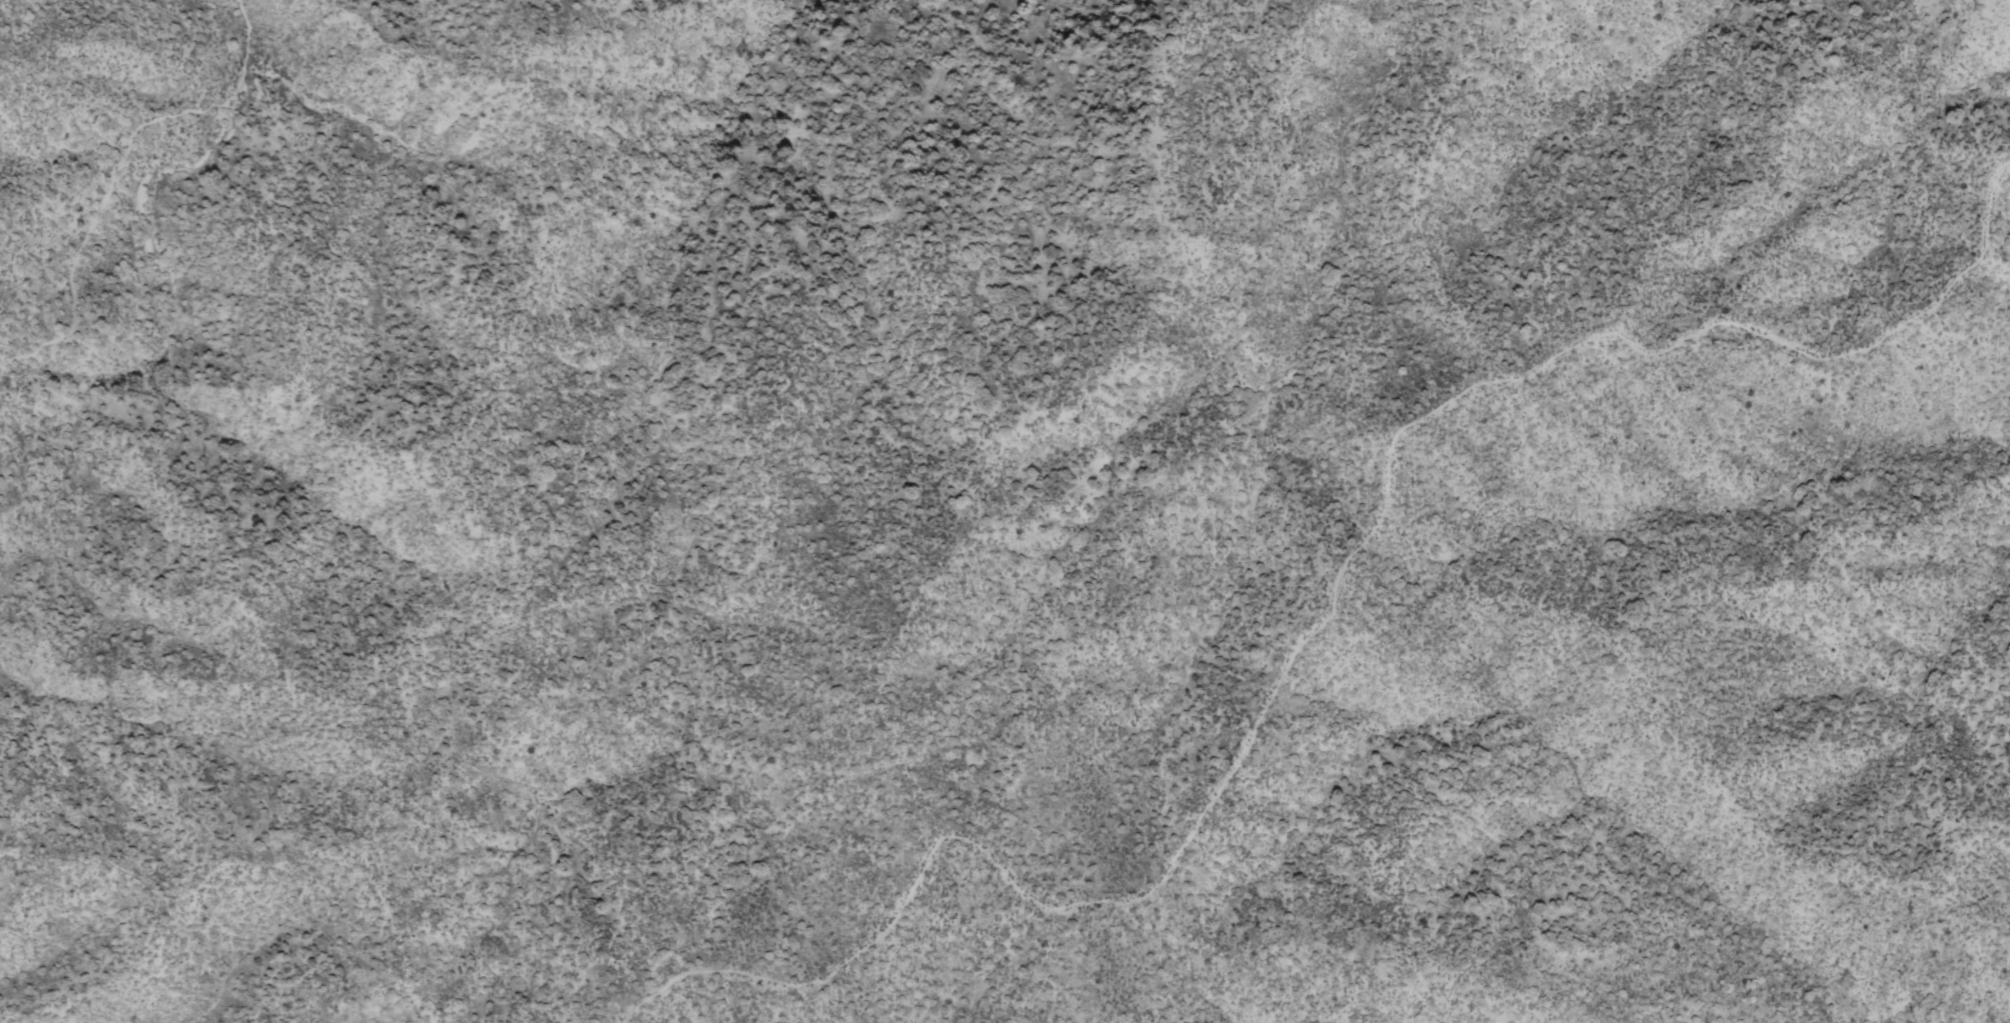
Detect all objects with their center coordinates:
road: (114, 173)

